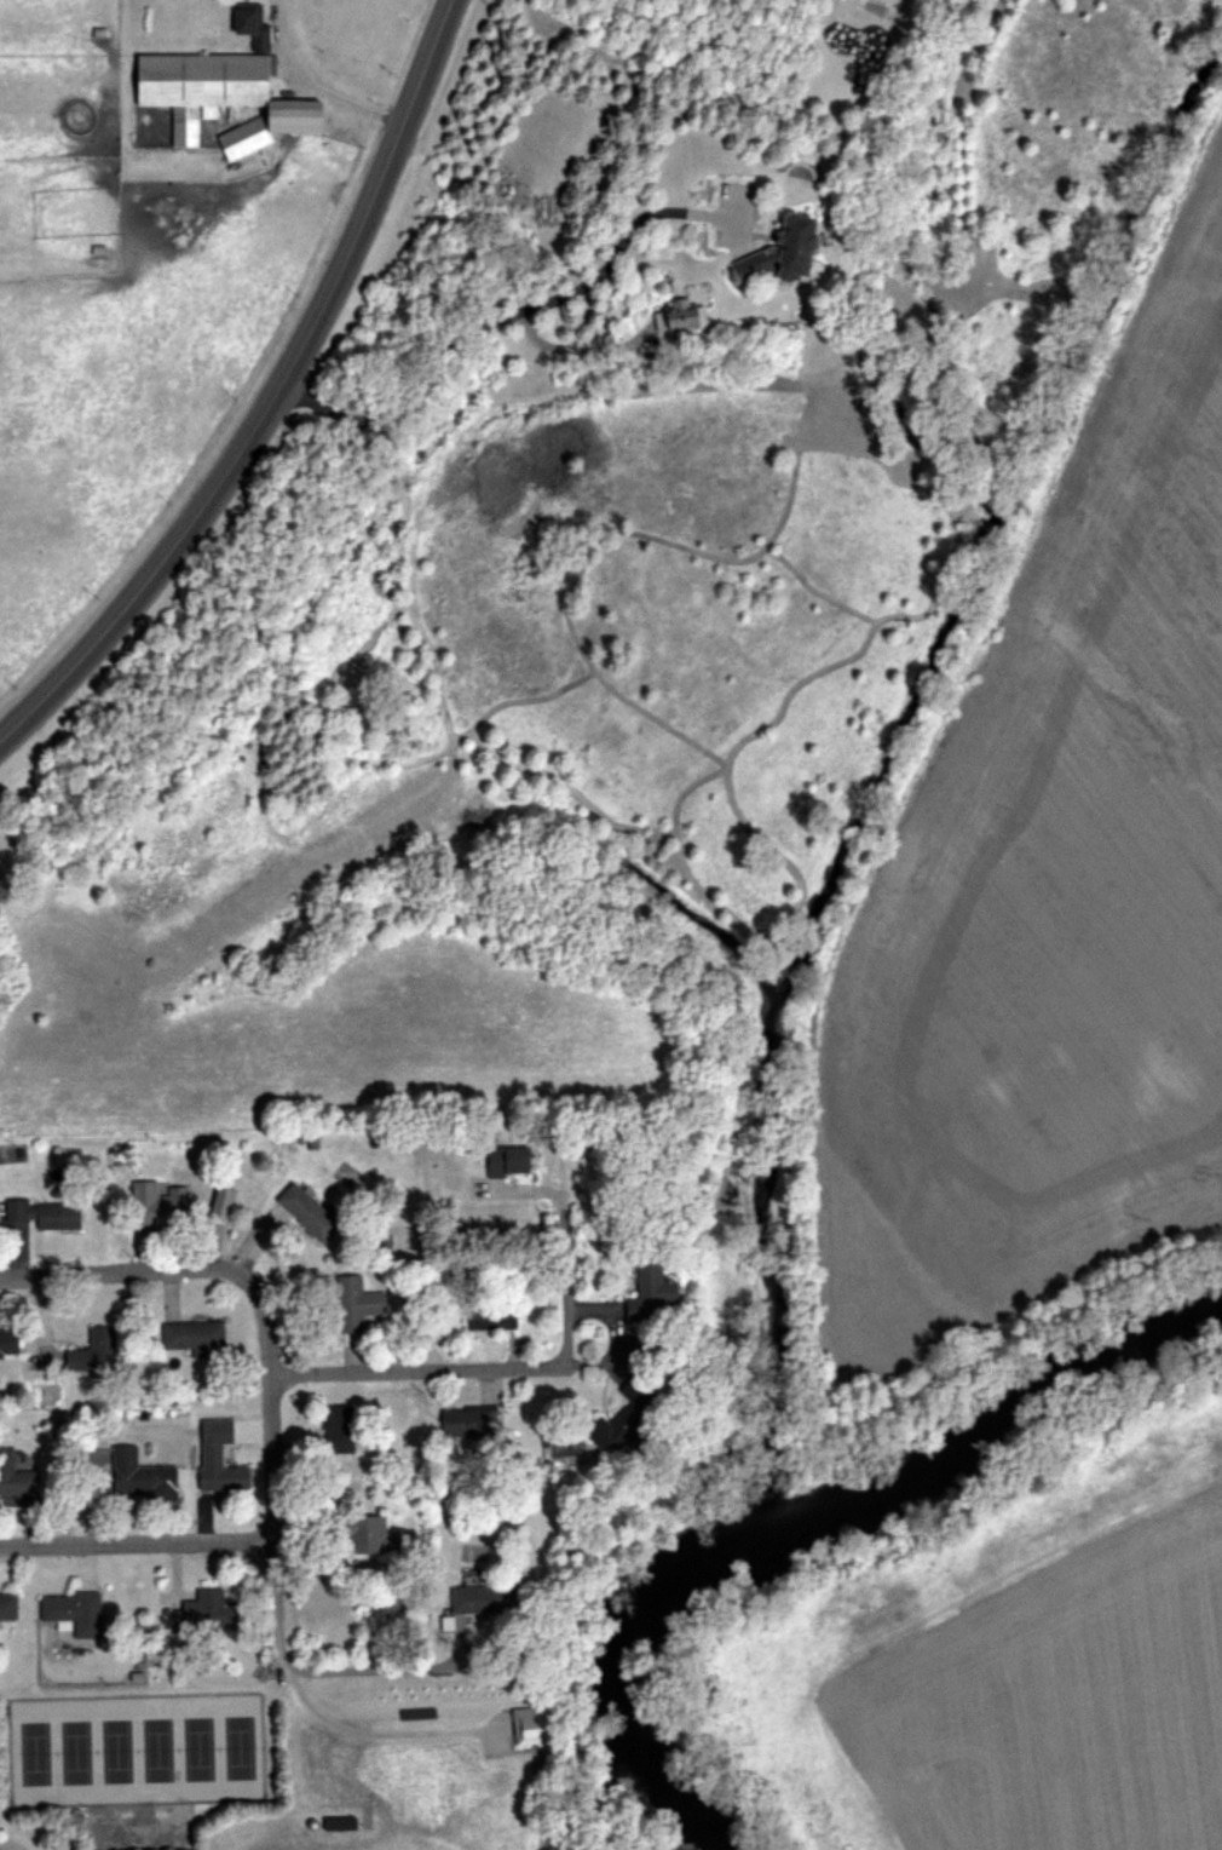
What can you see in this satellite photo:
building: (255, 23)
road: (312, 85)
building: (218, 99)
building: (788, 251)
road: (549, 305)
road: (272, 400)
building: (512, 1160)
building: (157, 1203)
building: (38, 1212)
building: (310, 1212)
road: (565, 1263)
road: (113, 1274)
road: (8, 1281)
building: (655, 1291)
building: (358, 1303)
building: (494, 1317)
building: (195, 1334)
building: (10, 1343)
building: (96, 1354)
road: (419, 1374)
building: (472, 1421)
building: (342, 1429)
building: (612, 1434)
road: (267, 1438)
building: (16, 1475)
building: (144, 1476)
building: (225, 1476)
river: (796, 1488)
building: (363, 1530)
road: (134, 1545)
building: (479, 1599)
building: (10, 1607)
building: (207, 1610)
building: (76, 1611)
road: (361, 1676)
park: (134, 1758)

